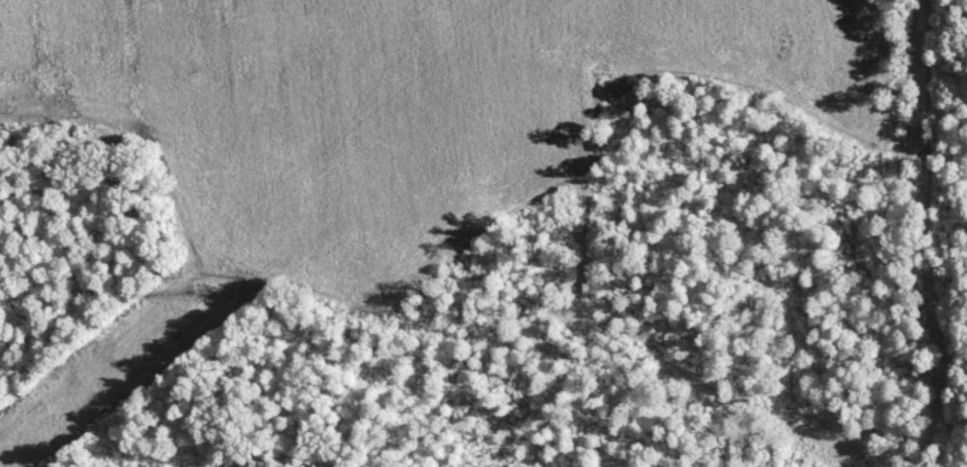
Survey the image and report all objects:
power tower: (202, 293)

